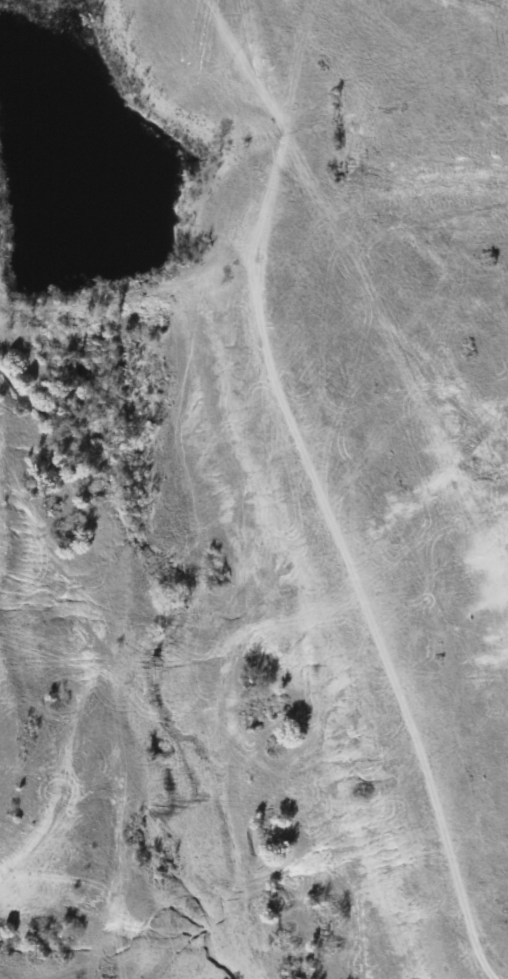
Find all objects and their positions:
dam: (93, 298)

